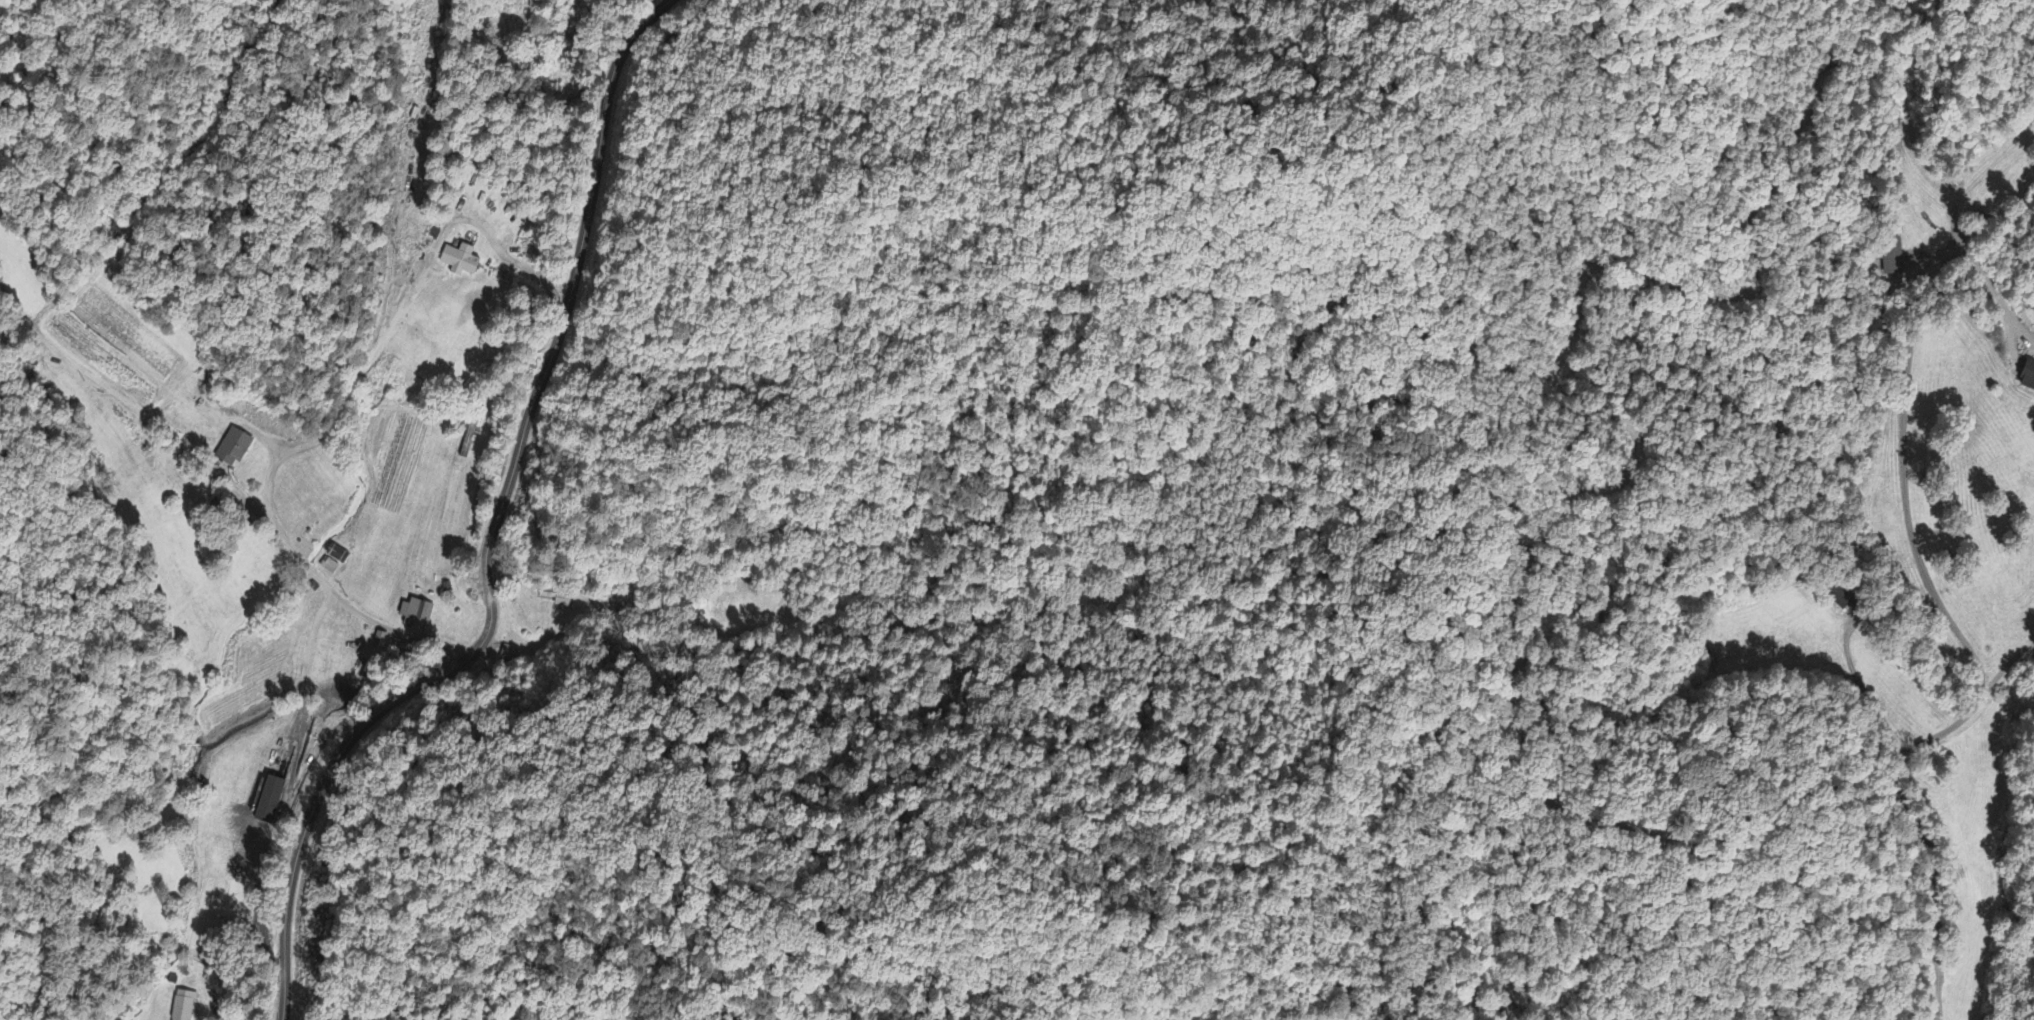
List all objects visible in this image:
building: (462, 262)
road: (420, 271)
building: (2029, 379)
building: (235, 450)
road: (492, 530)
building: (338, 556)
building: (330, 568)
road: (329, 591)
building: (417, 615)
building: (271, 802)
road: (1919, 835)
building: (184, 1007)

